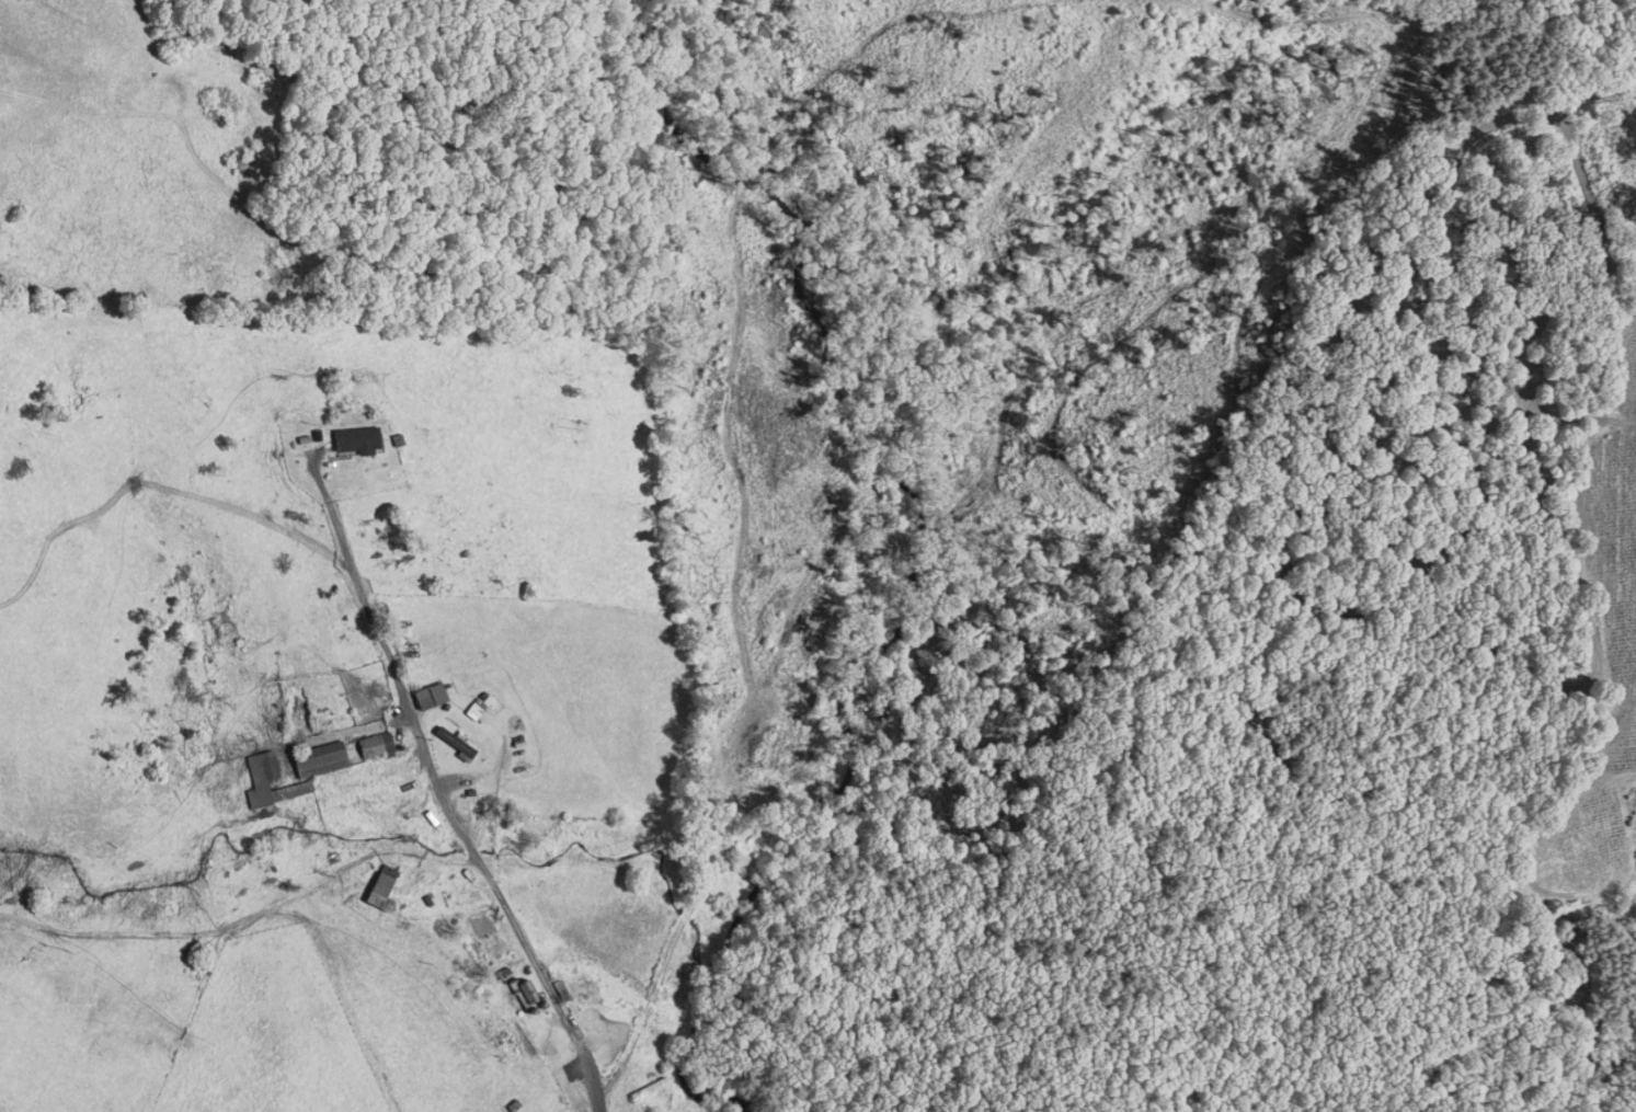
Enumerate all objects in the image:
building: (355, 437)
road: (330, 509)
building: (430, 696)
building: (455, 740)
building: (376, 744)
building: (317, 758)
building: (267, 779)
road: (449, 812)
building: (379, 884)
building: (527, 989)
road: (591, 1078)
building: (648, 1087)

